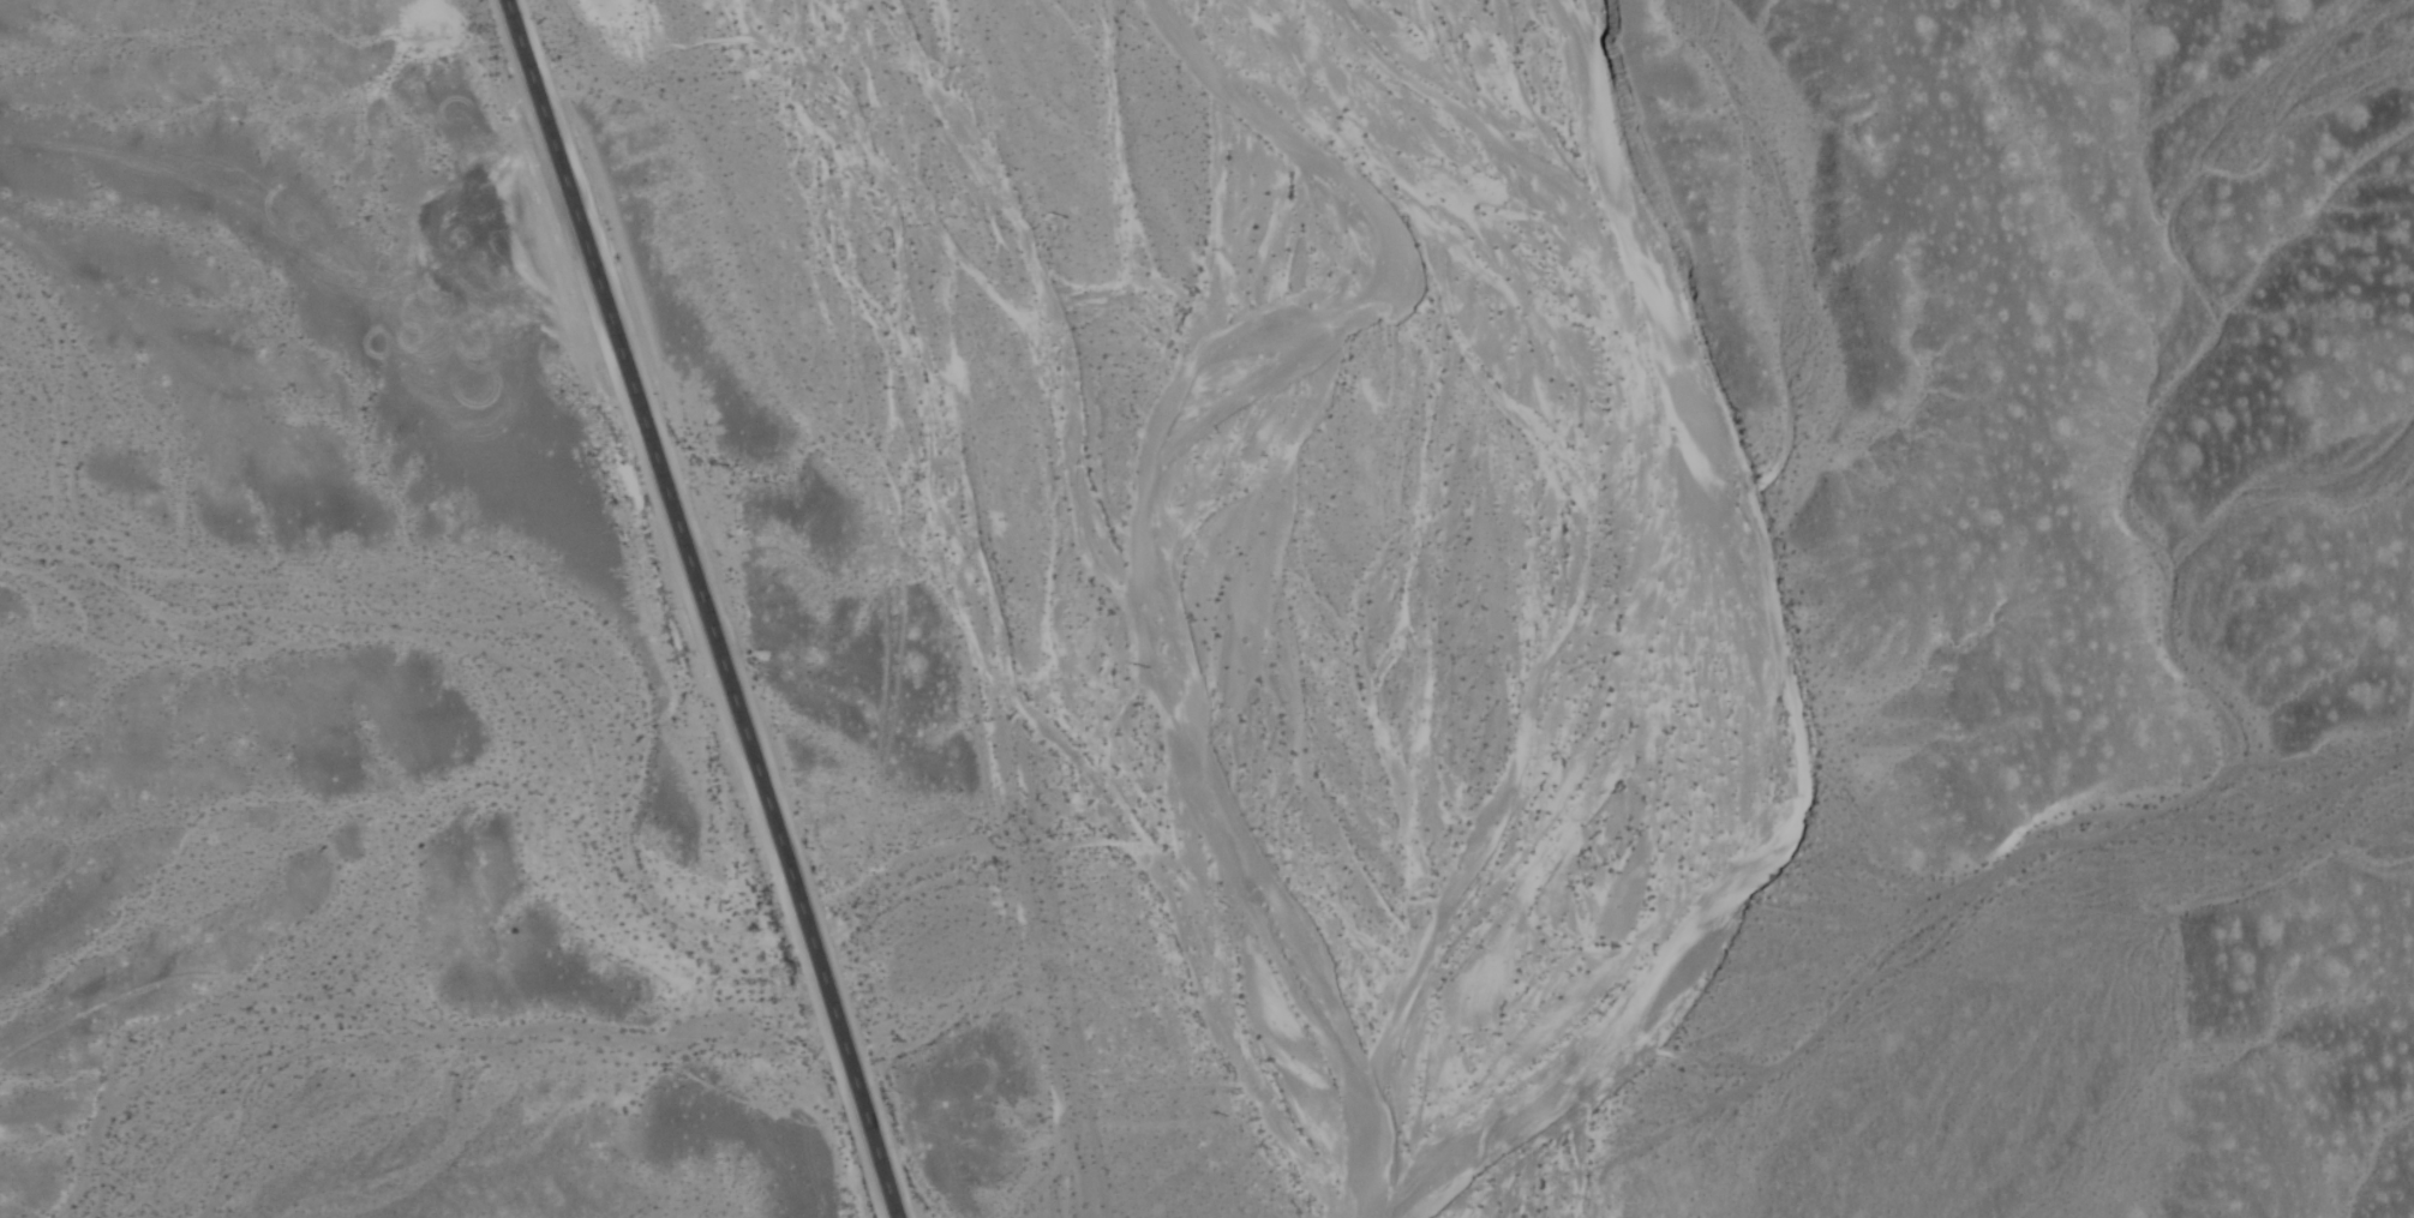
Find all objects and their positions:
river: (1557, 598)
road: (708, 607)

